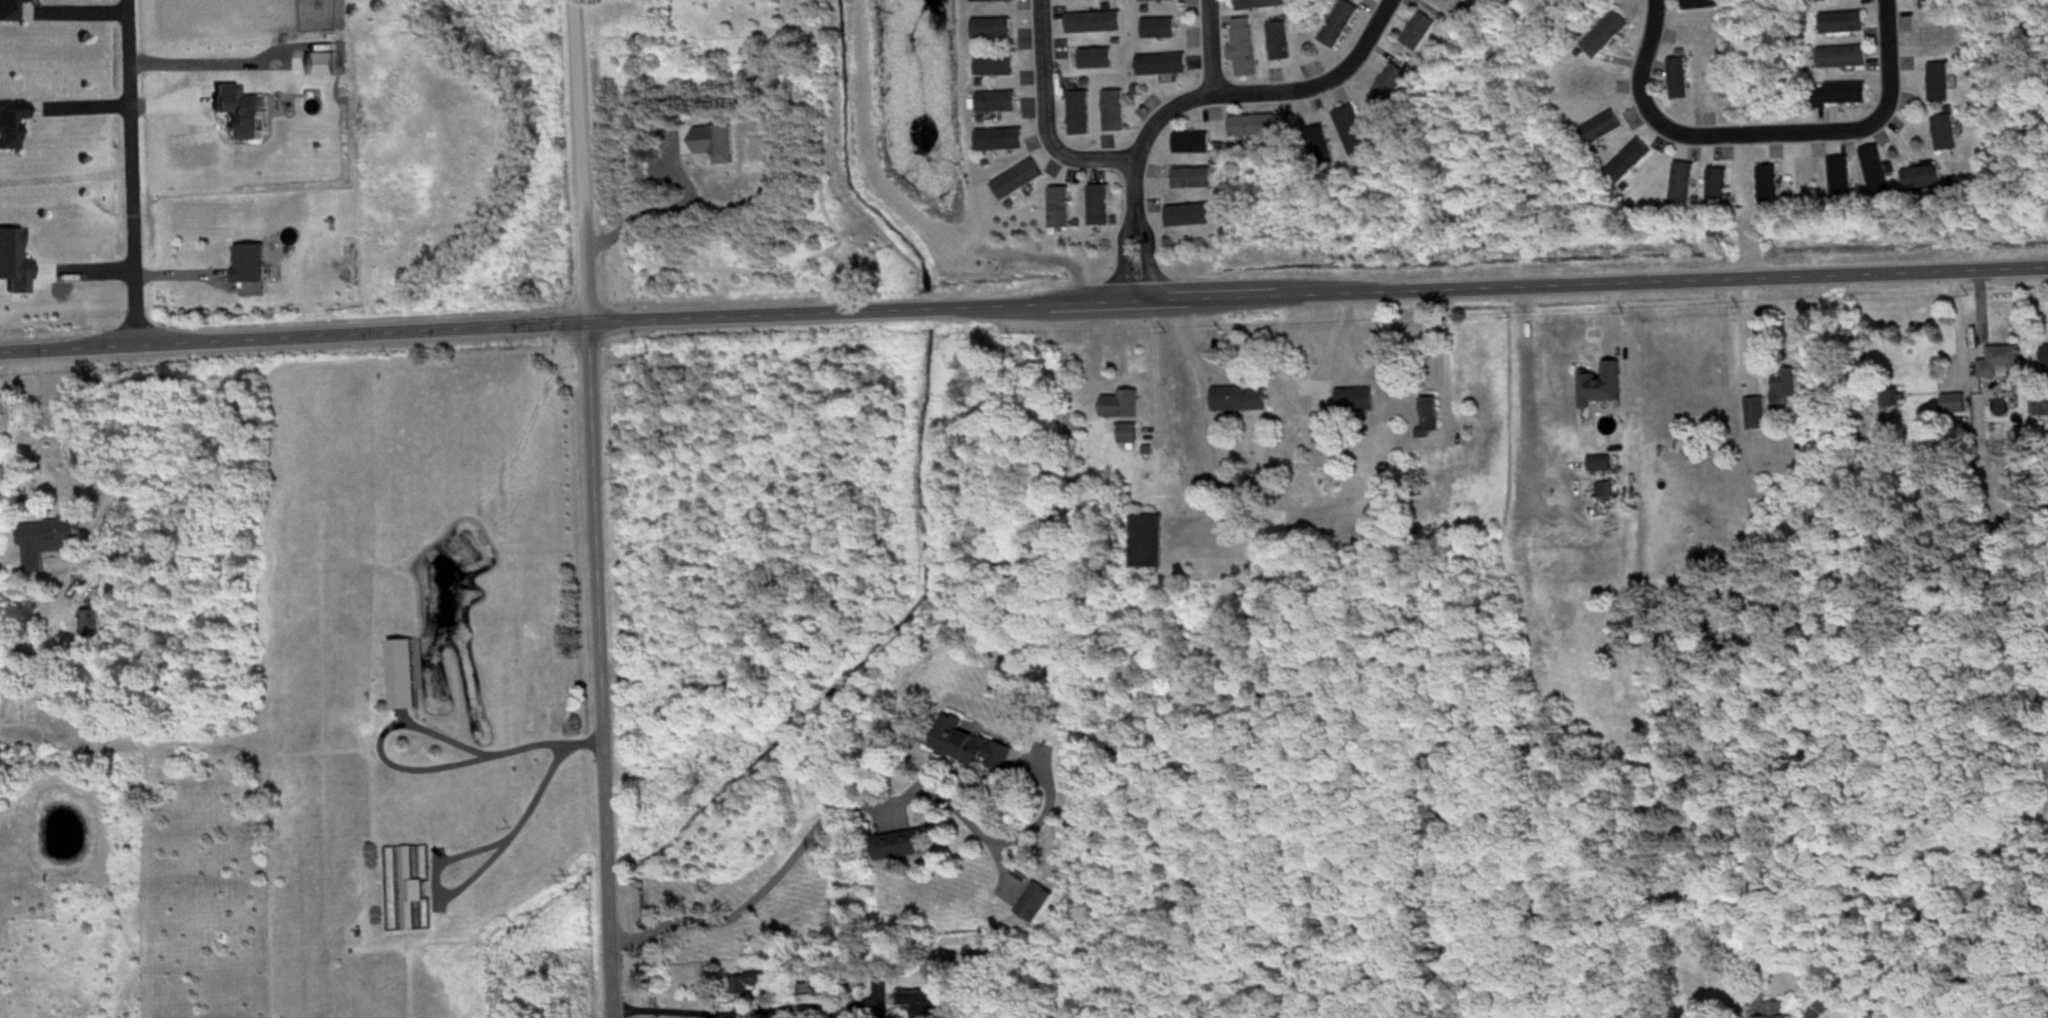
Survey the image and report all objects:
building: (1158, 1)
building: (1486, 1)
building: (1827, 1)
building: (1261, 5)
building: (1700, 5)
building: (1932, 5)
building: (10, 11)
building: (1095, 24)
building: (1843, 24)
building: (1340, 25)
building: (993, 30)
building: (1160, 30)
building: (1419, 33)
building: (1606, 36)
building: (1281, 43)
road: (1206, 45)
building: (1245, 49)
building: (1843, 59)
building: (1097, 60)
building: (1163, 66)
building: (996, 67)
building: (1679, 80)
building: (1713, 84)
building: (1940, 84)
building: (1389, 87)
road: (1261, 93)
building: (1842, 95)
road: (573, 98)
building: (998, 103)
building: (1115, 112)
road: (1041, 115)
building: (1080, 115)
building: (11, 124)
building: (1254, 127)
building: (1601, 130)
building: (1353, 131)
road: (1758, 133)
building: (1946, 134)
building: (1001, 141)
building: (1317, 141)
building: (1193, 144)
building: (1628, 163)
road: (130, 171)
building: (1876, 172)
building: (1923, 179)
building: (1193, 180)
building: (1805, 180)
building: (1019, 181)
building: (1682, 185)
building: (1768, 185)
building: (1718, 190)
building: (1100, 207)
building: (1061, 209)
building: (1190, 217)
road: (1130, 231)
building: (14, 264)
building: (250, 265)
road: (1023, 305)
building: (2045, 354)
building: (2001, 363)
building: (1785, 384)
building: (1602, 386)
building: (1241, 400)
building: (1889, 400)
building: (1356, 401)
building: (1954, 405)
building: (1122, 407)
building: (2041, 408)
building: (1756, 415)
building: (1431, 418)
road: (107, 425)
building: (1128, 435)
building: (1324, 439)
building: (1600, 464)
building: (1605, 490)
building: (49, 539)
building: (1148, 544)
road: (593, 607)
building: (88, 625)
building: (403, 677)
road: (413, 719)
building: (970, 749)
road: (534, 794)
road: (840, 800)
building: (900, 848)
building: (406, 892)
building: (1035, 906)
building: (749, 984)
building: (927, 1003)
road: (741, 1006)
building: (1776, 1011)

